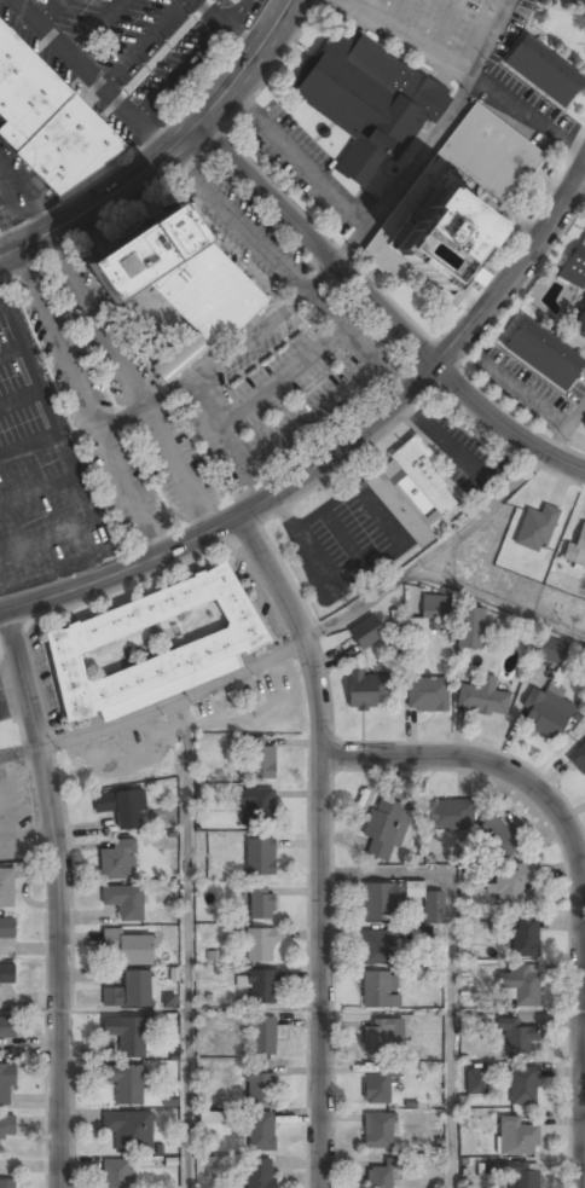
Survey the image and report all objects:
building: (577, 1)
road: (52, 10)
road: (243, 13)
road: (98, 25)
road: (146, 42)
parking lot: (138, 47)
building: (543, 71)
building: (366, 103)
building: (48, 117)
road: (143, 120)
road: (167, 151)
building: (500, 155)
building: (431, 232)
building: (575, 265)
building: (178, 283)
road: (381, 313)
building: (579, 328)
road: (12, 344)
building: (543, 357)
road: (22, 393)
road: (564, 427)
road: (30, 444)
road: (340, 446)
road: (70, 451)
parking lot: (42, 468)
road: (39, 487)
building: (411, 492)
building: (535, 529)
building: (577, 549)
road: (431, 554)
road: (498, 603)
building: (434, 608)
building: (413, 627)
building: (470, 628)
building: (365, 633)
building: (151, 645)
building: (549, 651)
building: (365, 691)
building: (427, 695)
building: (482, 697)
road: (174, 699)
building: (545, 717)
road: (476, 759)
building: (579, 759)
building: (261, 760)
building: (255, 806)
building: (121, 809)
building: (446, 816)
building: (382, 829)
building: (498, 840)
road: (322, 841)
building: (259, 857)
building: (117, 860)
building: (512, 886)
building: (6, 888)
road: (56, 897)
building: (377, 902)
building: (123, 903)
building: (259, 903)
building: (433, 909)
building: (6, 929)
building: (525, 939)
road: (186, 940)
building: (259, 945)
building: (376, 947)
building: (129, 949)
road: (451, 967)
building: (6, 975)
building: (520, 985)
building: (261, 986)
building: (128, 992)
building: (380, 992)
building: (6, 1028)
building: (126, 1035)
building: (262, 1037)
building: (382, 1037)
building: (516, 1038)
building: (475, 1083)
building: (124, 1084)
building: (380, 1084)
building: (5, 1085)
building: (257, 1085)
building: (522, 1086)
building: (213, 1124)
building: (6, 1129)
building: (128, 1131)
building: (378, 1131)
building: (260, 1132)
building: (516, 1138)
building: (259, 1173)
building: (516, 1173)
building: (117, 1175)
building: (378, 1178)
building: (7, 1184)

